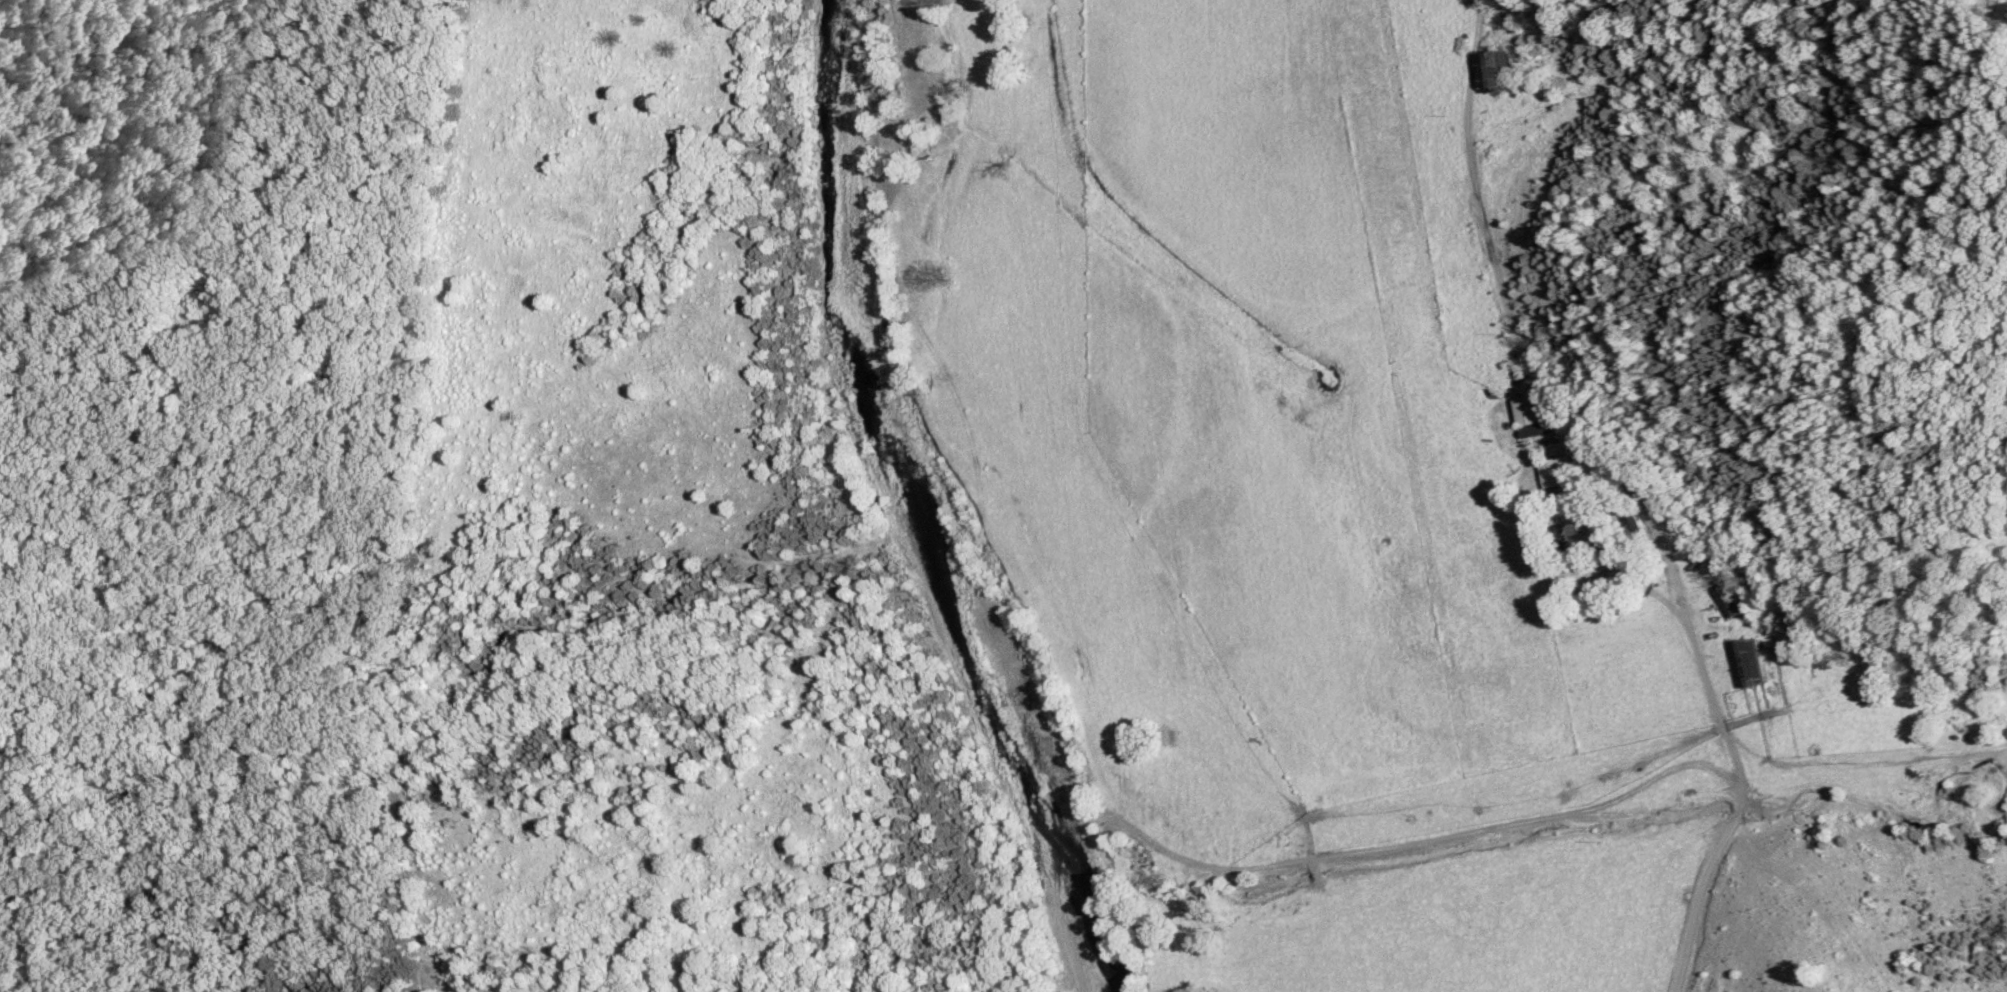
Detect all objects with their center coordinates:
building: (1536, 411)
building: (1563, 471)
road: (1637, 491)
road: (1643, 582)

